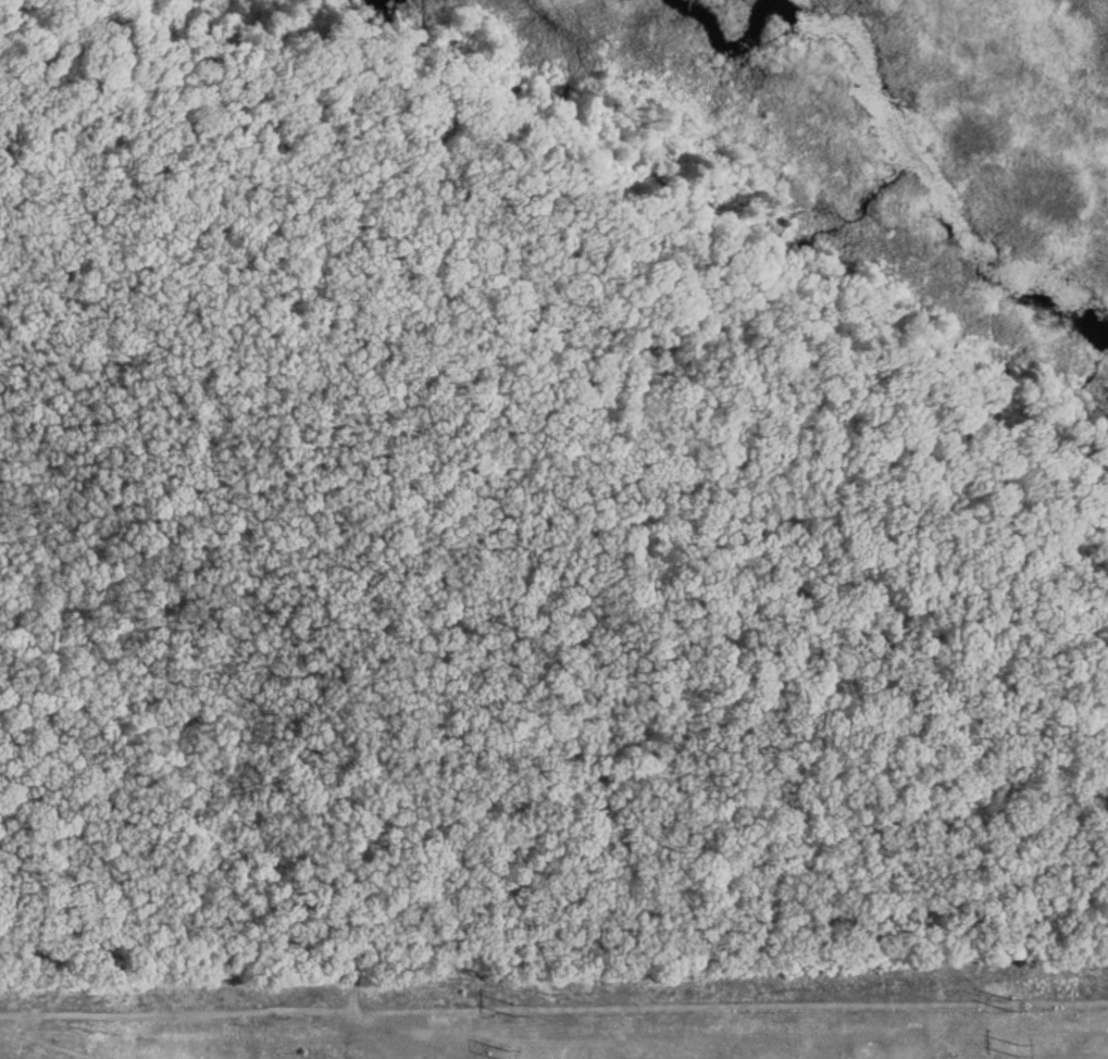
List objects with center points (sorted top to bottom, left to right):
power tower: (1011, 1002)
power tower: (509, 1008)
power tower: (1013, 1050)
power tower: (511, 1056)

